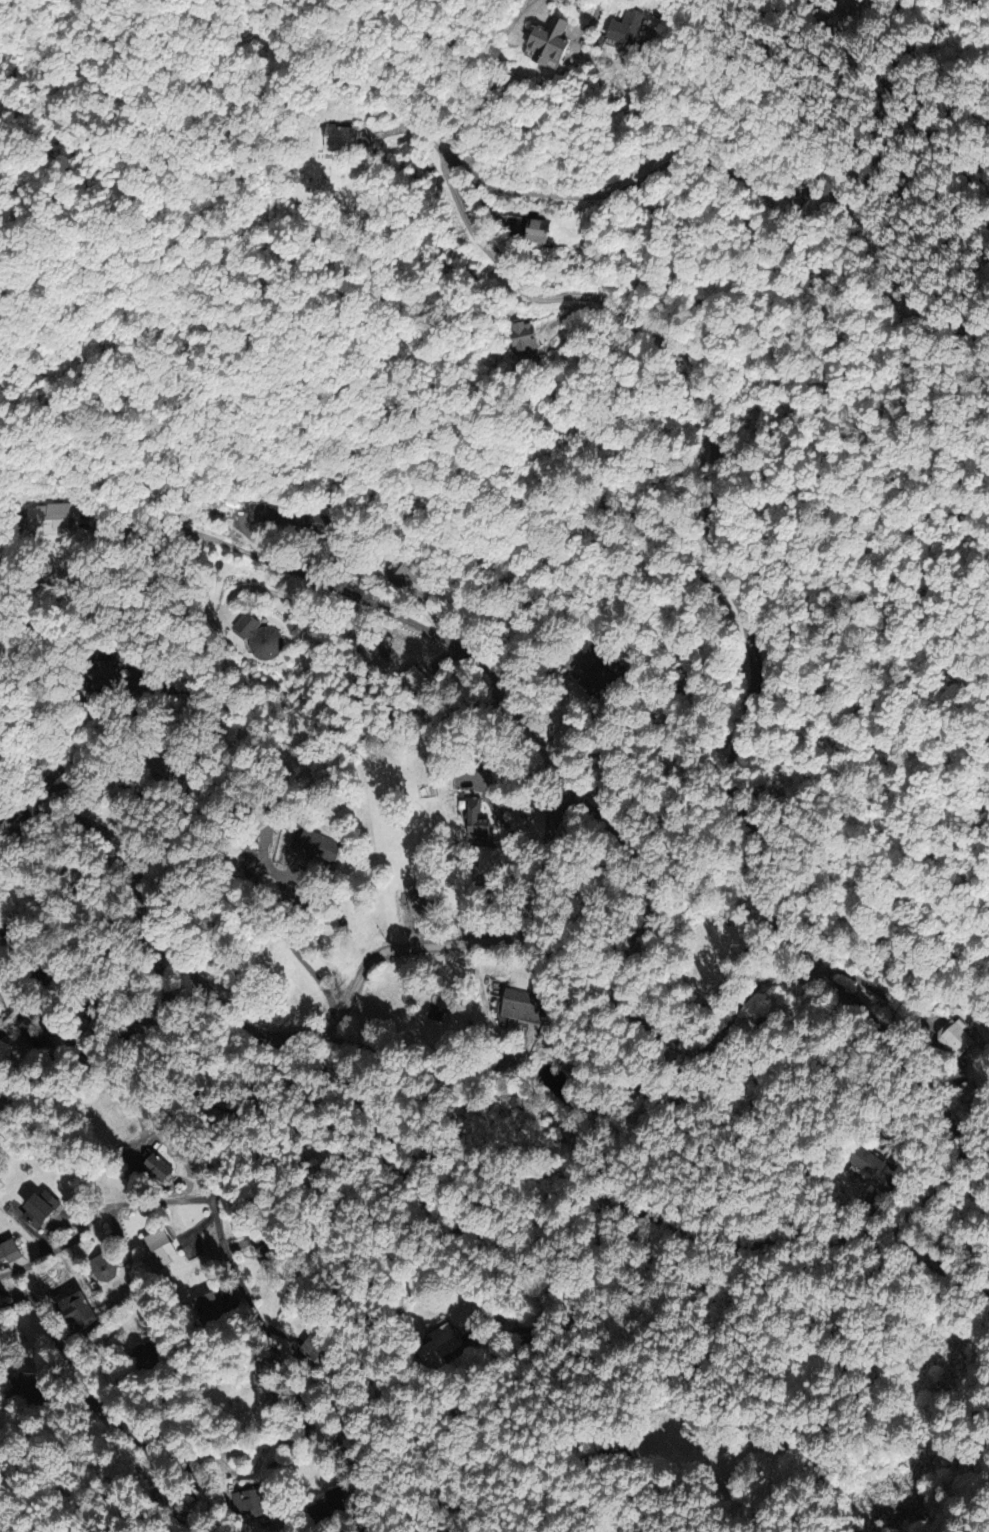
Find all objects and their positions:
road: (531, 5)
road: (668, 19)
building: (628, 27)
building: (553, 41)
road: (413, 128)
building: (341, 139)
road: (490, 207)
building: (540, 231)
building: (528, 335)
building: (288, 516)
building: (50, 517)
building: (405, 571)
road: (402, 613)
building: (260, 637)
building: (109, 676)
building: (601, 680)
building: (419, 681)
road: (107, 733)
building: (166, 760)
road: (171, 797)
building: (479, 823)
building: (314, 844)
road: (748, 866)
building: (420, 900)
road: (285, 937)
road: (877, 991)
building: (523, 1006)
road: (14, 1014)
building: (956, 1037)
building: (35, 1038)
road: (433, 1074)
road: (910, 1090)
building: (157, 1167)
building: (875, 1167)
building: (41, 1209)
road: (98, 1210)
road: (597, 1213)
building: (264, 1240)
building: (162, 1246)
building: (9, 1250)
building: (103, 1265)
building: (207, 1306)
building: (75, 1311)
building: (441, 1338)
road: (275, 1341)
building: (317, 1351)
building: (146, 1356)
building: (27, 1385)
road: (486, 1410)
building: (250, 1501)
building: (328, 1504)

